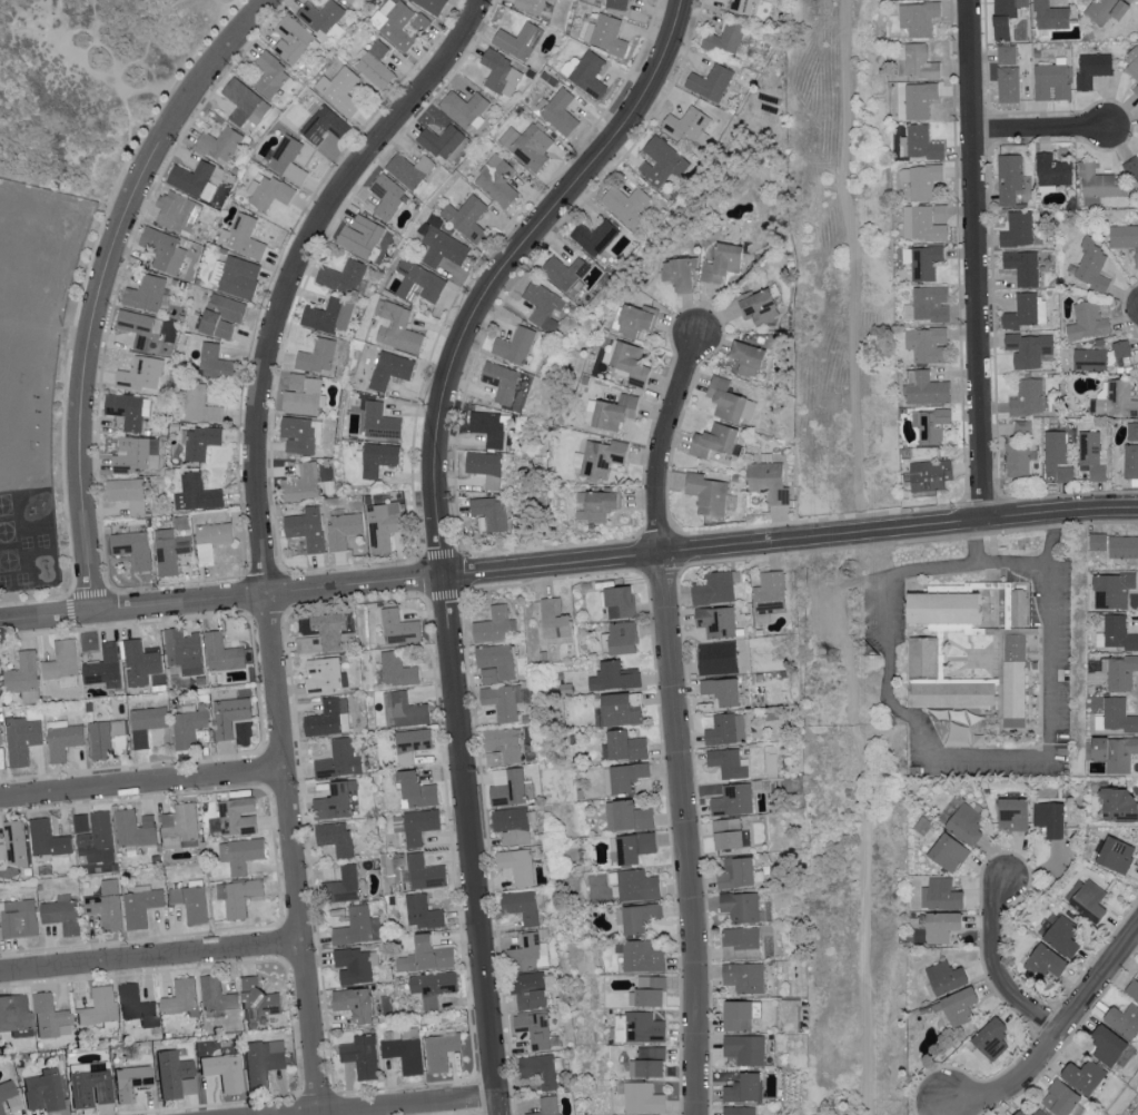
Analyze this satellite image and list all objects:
building: (557, 0)
building: (348, 1)
building: (617, 4)
building: (431, 6)
building: (534, 6)
building: (744, 6)
building: (1108, 11)
building: (321, 16)
building: (1007, 17)
building: (1051, 17)
building: (919, 19)
building: (400, 27)
building: (610, 36)
building: (726, 39)
building: (293, 40)
building: (519, 41)
building: (1007, 56)
building: (568, 63)
building: (920, 63)
building: (1132, 63)
road: (95, 65)
building: (376, 66)
building: (1092, 70)
building: (502, 72)
building: (590, 75)
building: (271, 76)
building: (1051, 82)
building: (711, 83)
building: (1009, 86)
park: (88, 88)
building: (342, 90)
building: (1136, 90)
building: (920, 100)
building: (245, 103)
building: (465, 109)
building: (561, 112)
building: (325, 122)
building: (687, 127)
road: (1040, 134)
building: (442, 142)
building: (219, 145)
building: (923, 146)
building: (528, 147)
building: (458, 148)
building: (288, 160)
building: (663, 161)
building: (1132, 170)
building: (410, 171)
building: (1053, 171)
building: (1009, 179)
building: (194, 180)
building: (497, 181)
building: (923, 184)
building: (1099, 187)
building: (270, 194)
building: (387, 197)
building: (630, 206)
building: (178, 213)
building: (466, 218)
building: (930, 224)
building: (1018, 230)
building: (360, 237)
building: (244, 238)
building: (596, 238)
building: (1124, 238)
building: (443, 248)
building: (164, 250)
road: (974, 259)
building: (723, 263)
building: (927, 264)
road: (855, 265)
building: (1091, 265)
road: (508, 266)
building: (1023, 268)
building: (566, 273)
building: (677, 275)
building: (237, 278)
building: (344, 278)
road: (103, 282)
building: (418, 283)
building: (148, 296)
building: (931, 304)
building: (544, 306)
building: (759, 307)
building: (1022, 313)
building: (224, 316)
building: (330, 317)
building: (634, 320)
building: (1089, 322)
building: (138, 328)
building: (398, 328)
building: (516, 346)
building: (928, 346)
building: (1030, 349)
building: (1121, 349)
building: (318, 357)
building: (748, 359)
building: (1090, 361)
building: (630, 363)
building: (216, 364)
building: (390, 372)
road: (68, 373)
building: (140, 377)
building: (503, 381)
building: (928, 391)
building: (304, 396)
building: (1028, 398)
building: (726, 401)
building: (1117, 402)
building: (199, 405)
building: (128, 411)
building: (614, 412)
building: (380, 423)
building: (933, 426)
building: (489, 428)
building: (1023, 431)
building: (1132, 433)
building: (299, 435)
building: (714, 441)
building: (201, 444)
building: (1091, 455)
building: (139, 456)
building: (1058, 457)
building: (601, 458)
building: (379, 460)
building: (1019, 461)
building: (1131, 462)
building: (487, 467)
building: (930, 475)
building: (769, 483)
building: (304, 484)
building: (128, 494)
building: (197, 494)
building: (707, 495)
building: (595, 505)
building: (493, 513)
road: (259, 525)
building: (382, 529)
building: (308, 530)
building: (344, 531)
building: (212, 541)
building: (1097, 541)
building: (1122, 545)
building: (133, 549)
building: (169, 552)
road: (568, 562)
road: (1018, 562)
building: (714, 586)
building: (1112, 590)
road: (75, 595)
building: (619, 601)
building: (943, 609)
building: (1018, 611)
building: (554, 618)
building: (715, 620)
parking lot: (882, 621)
building: (495, 626)
building: (399, 629)
building: (1116, 633)
building: (328, 635)
building: (621, 637)
building: (184, 652)
building: (225, 655)
power tower: (883, 655)
building: (716, 657)
power tower: (833, 657)
building: (922, 659)
building: (63, 661)
building: (140, 663)
building: (497, 663)
building: (106, 667)
building: (395, 670)
building: (1120, 671)
building: (22, 675)
building: (613, 675)
building: (325, 677)
parking lot: (1055, 681)
building: (1013, 682)
road: (258, 689)
building: (721, 690)
building: (951, 695)
building: (505, 701)
building: (617, 710)
building: (407, 711)
building: (1118, 714)
building: (230, 717)
building: (330, 719)
road: (676, 721)
building: (148, 724)
building: (188, 728)
building: (725, 729)
building: (0, 739)
building: (105, 739)
building: (22, 741)
building: (65, 741)
building: (412, 744)
building: (506, 744)
building: (624, 746)
building: (1115, 752)
road: (939, 754)
building: (340, 761)
building: (726, 762)
building: (625, 776)
road: (142, 785)
building: (512, 790)
building: (417, 791)
building: (732, 799)
building: (335, 803)
building: (1117, 803)
building: (1011, 812)
building: (626, 816)
building: (237, 817)
building: (1049, 818)
road: (865, 820)
building: (964, 823)
building: (420, 825)
building: (513, 826)
building: (182, 828)
building: (133, 831)
building: (729, 833)
building: (336, 839)
building: (48, 840)
building: (99, 841)
building: (17, 843)
road: (471, 845)
building: (633, 846)
building: (948, 851)
building: (1115, 855)
building: (244, 856)
building: (519, 866)
building: (736, 872)
building: (425, 874)
building: (636, 885)
building: (343, 886)
building: (940, 894)
building: (241, 897)
building: (1088, 900)
building: (191, 905)
building: (107, 906)
building: (741, 906)
building: (523, 907)
building: (142, 908)
building: (423, 912)
building: (637, 916)
building: (62, 917)
building: (20, 919)
building: (940, 926)
building: (359, 928)
building: (1061, 935)
building: (742, 939)
building: (527, 955)
building: (426, 956)
building: (641, 956)
road: (150, 958)
building: (1046, 960)
building: (354, 965)
road: (997, 970)
building: (743, 976)
building: (944, 976)
building: (432, 987)
building: (1132, 987)
building: (530, 989)
building: (646, 991)
building: (217, 996)
building: (182, 997)
building: (259, 1001)
building: (354, 1003)
building: (956, 1005)
building: (138, 1007)
building: (100, 1008)
building: (739, 1014)
building: (14, 1015)
building: (50, 1017)
building: (1124, 1019)
building: (535, 1028)
building: (990, 1038)
road: (1055, 1038)
building: (1107, 1044)
building: (744, 1048)
building: (404, 1049)
building: (441, 1053)
building: (363, 1056)
building: (646, 1063)
building: (260, 1065)
building: (541, 1070)
building: (225, 1074)
building: (174, 1075)
building: (1082, 1075)
building: (132, 1083)
building: (90, 1085)
building: (744, 1087)
building: (7, 1093)
building: (43, 1094)
building: (640, 1097)
building: (1059, 1098)
road: (394, 1104)
building: (551, 1106)
building: (739, 1111)
building: (1, 1112)
building: (1039, 1112)
building: (1136, 1112)
building: (1019, 1113)

